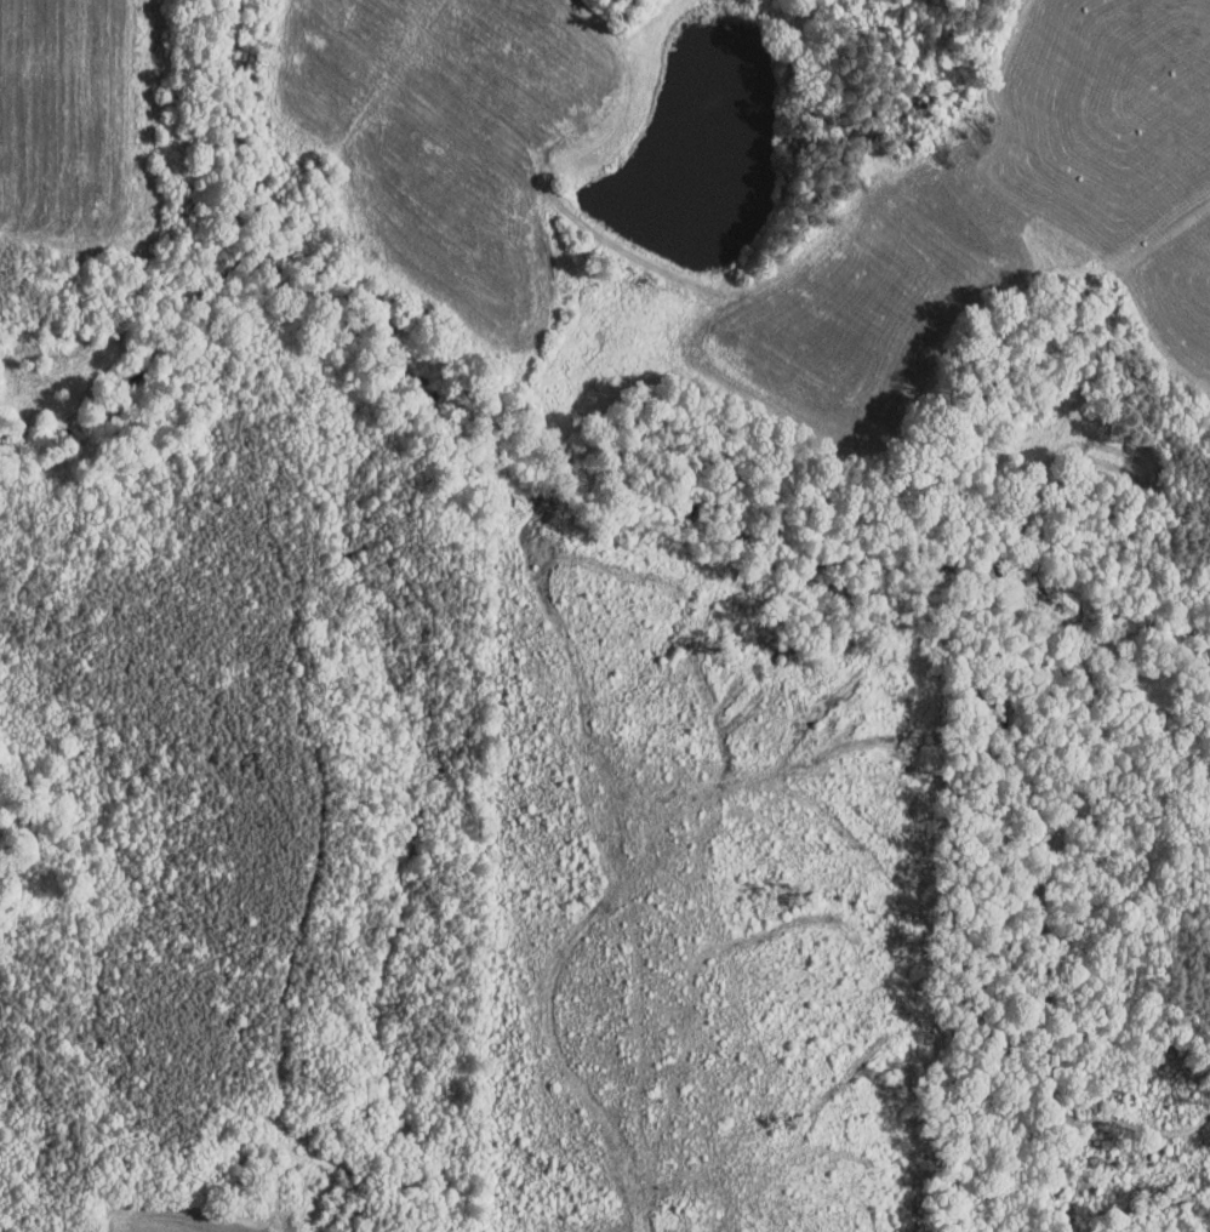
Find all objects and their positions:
road: (295, 1217)

